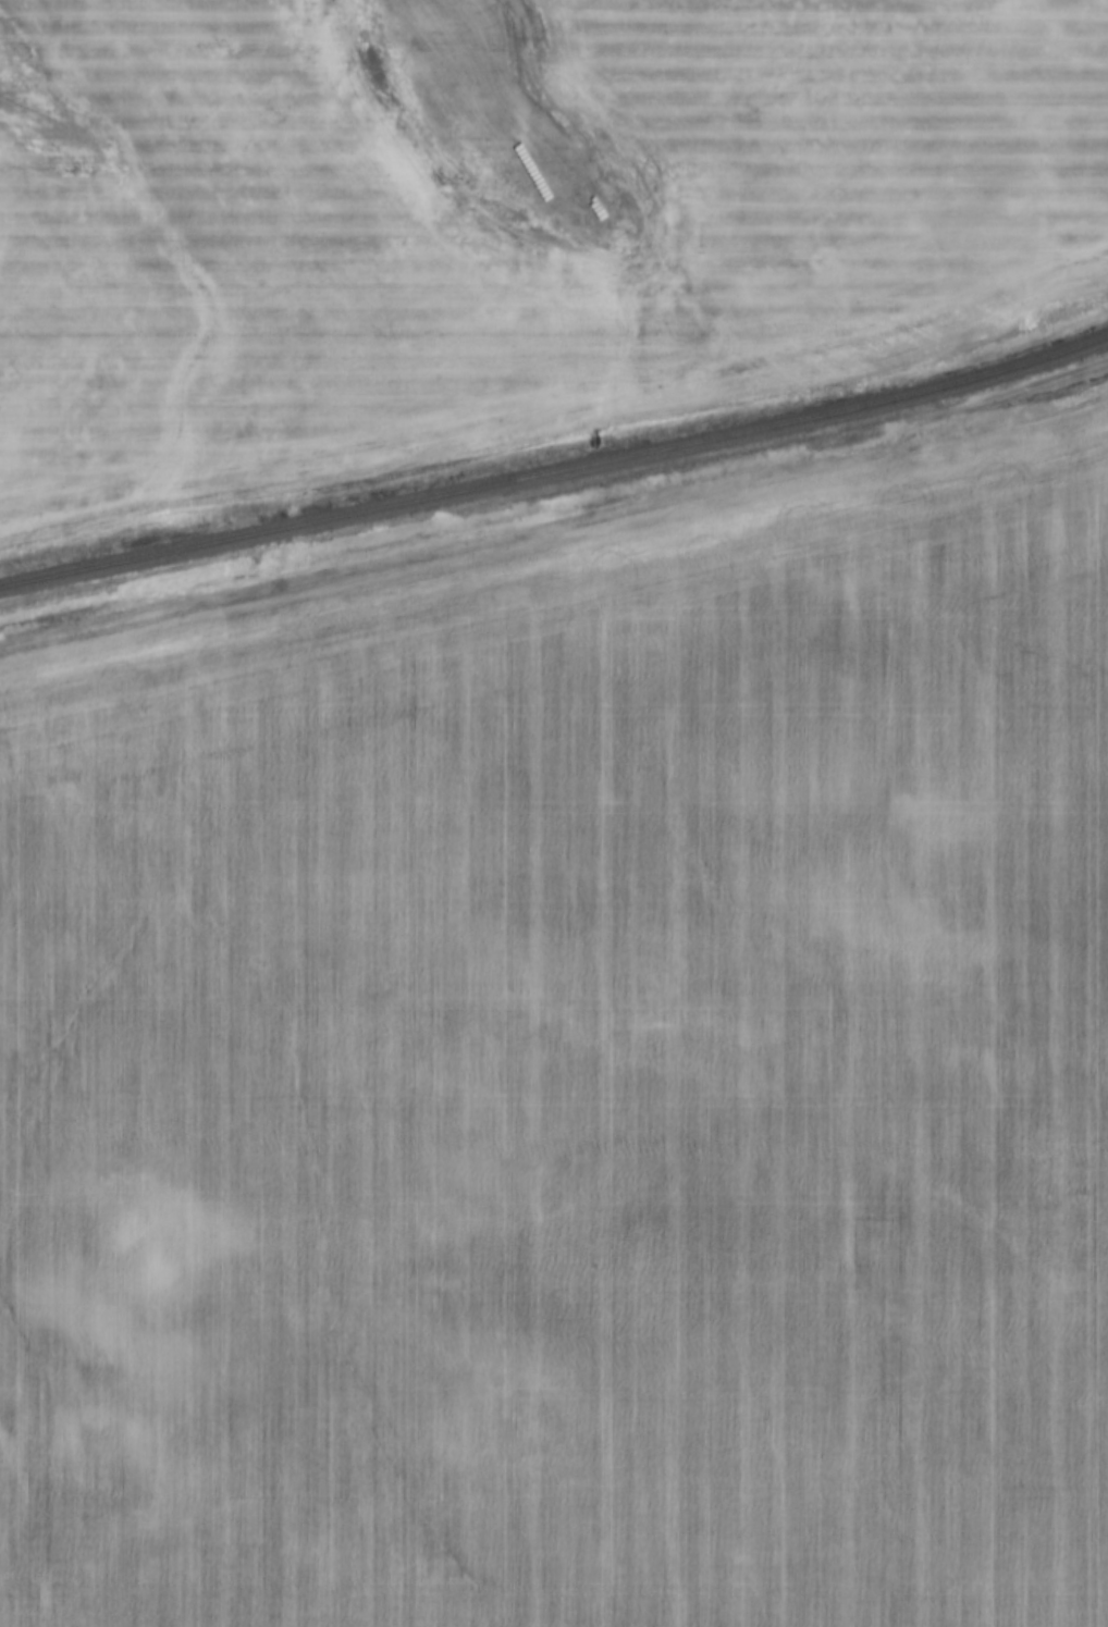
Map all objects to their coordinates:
railway: (556, 471)

